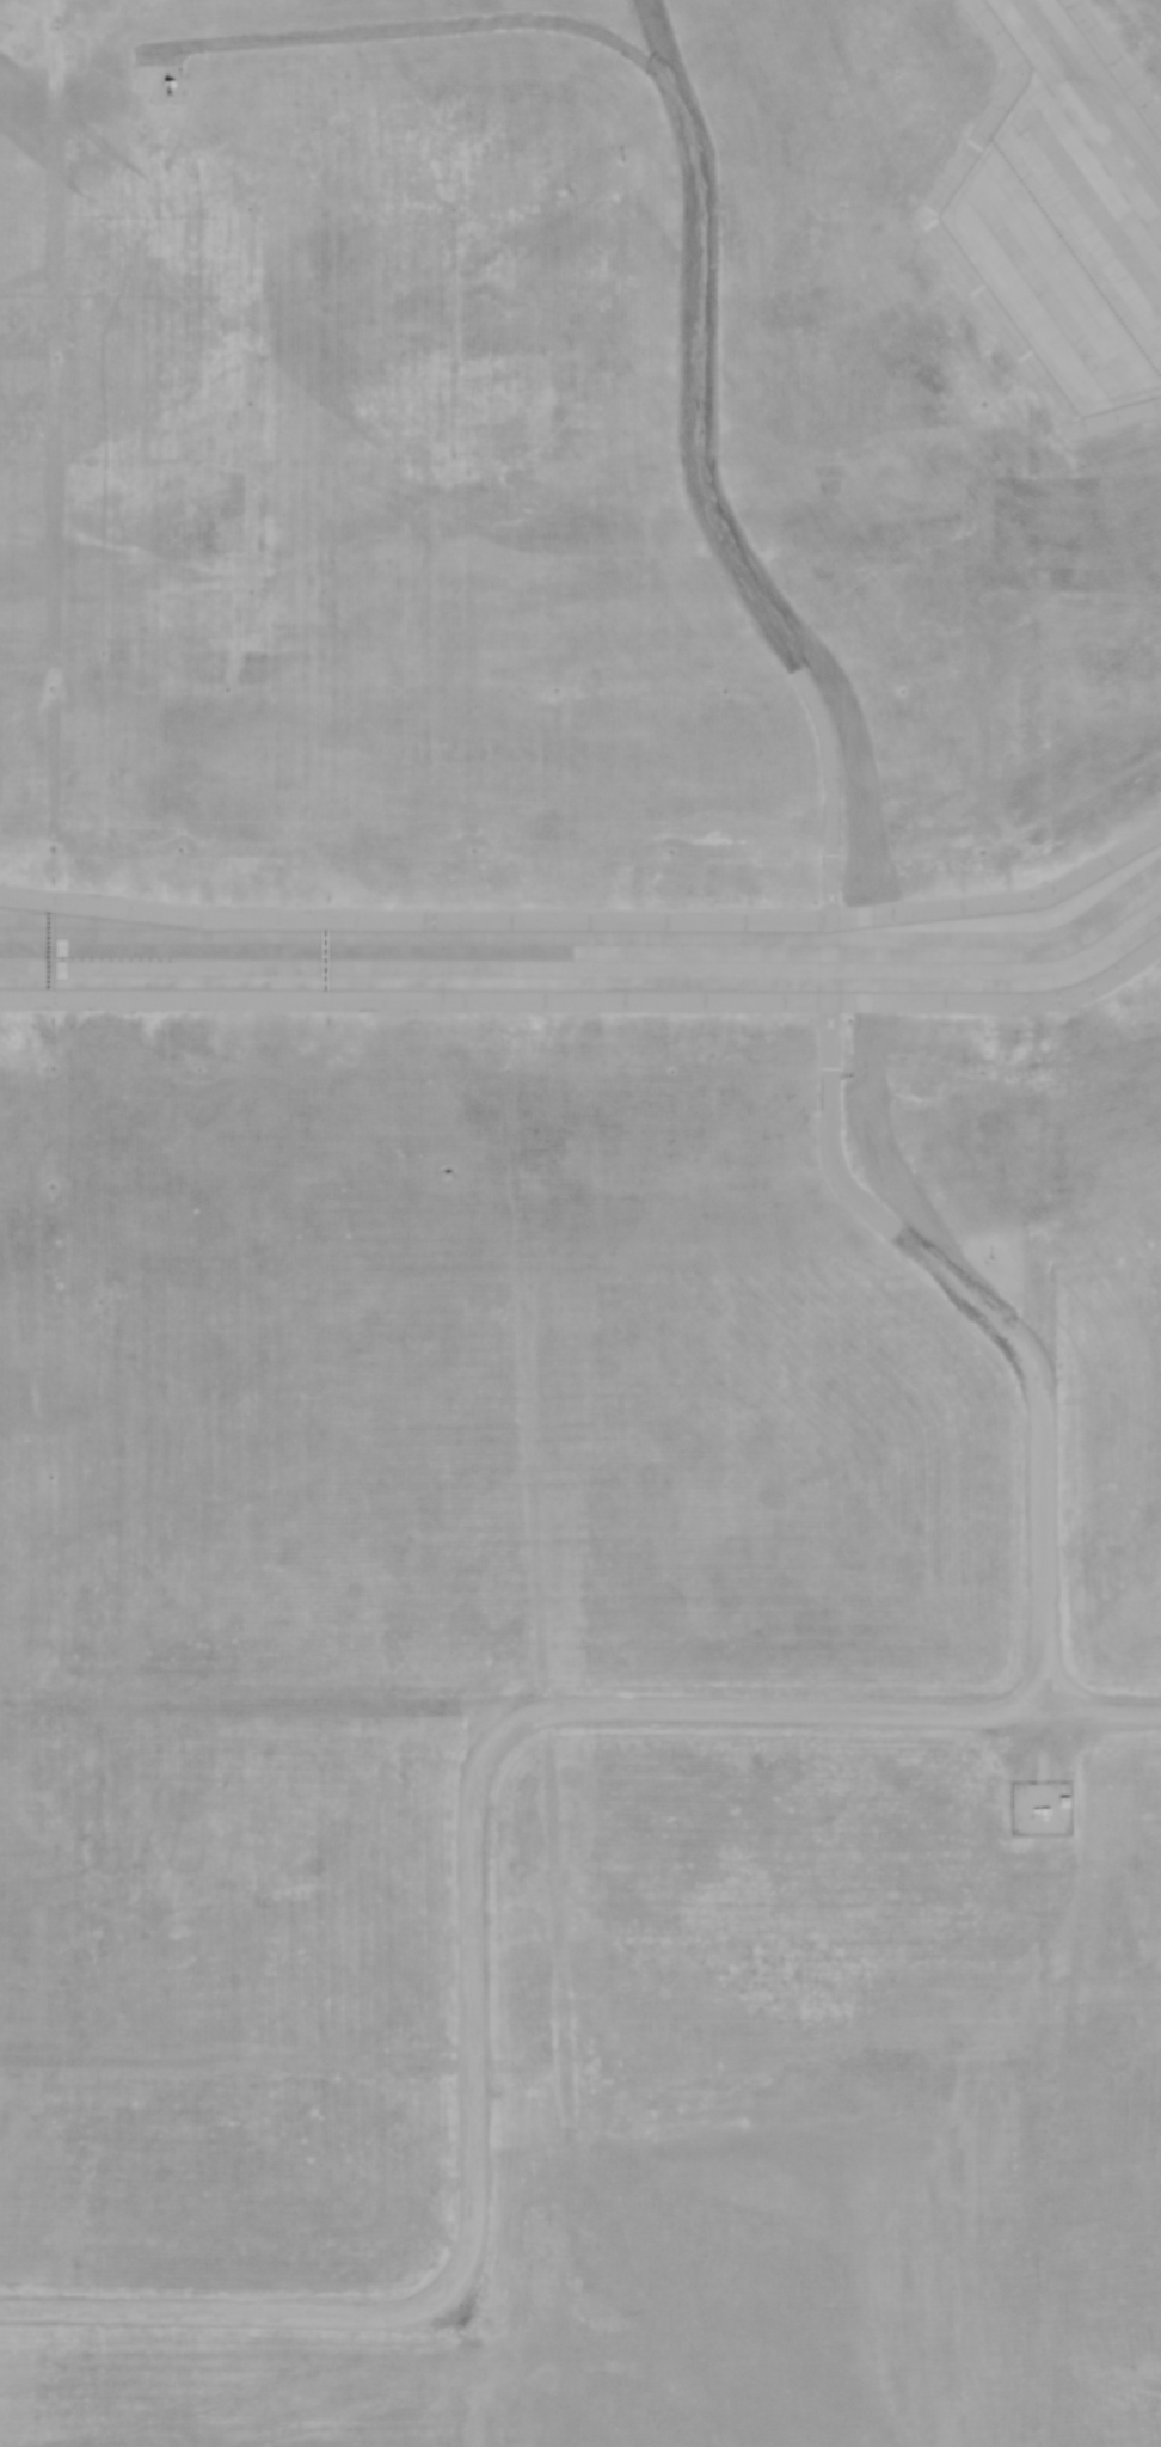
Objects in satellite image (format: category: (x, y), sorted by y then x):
airport taxiway: (1096, 90)
airport apron: (1068, 239)
road: (791, 658)
airport taxiway: (590, 961)
airport: (580, 1223)
road: (474, 1903)

